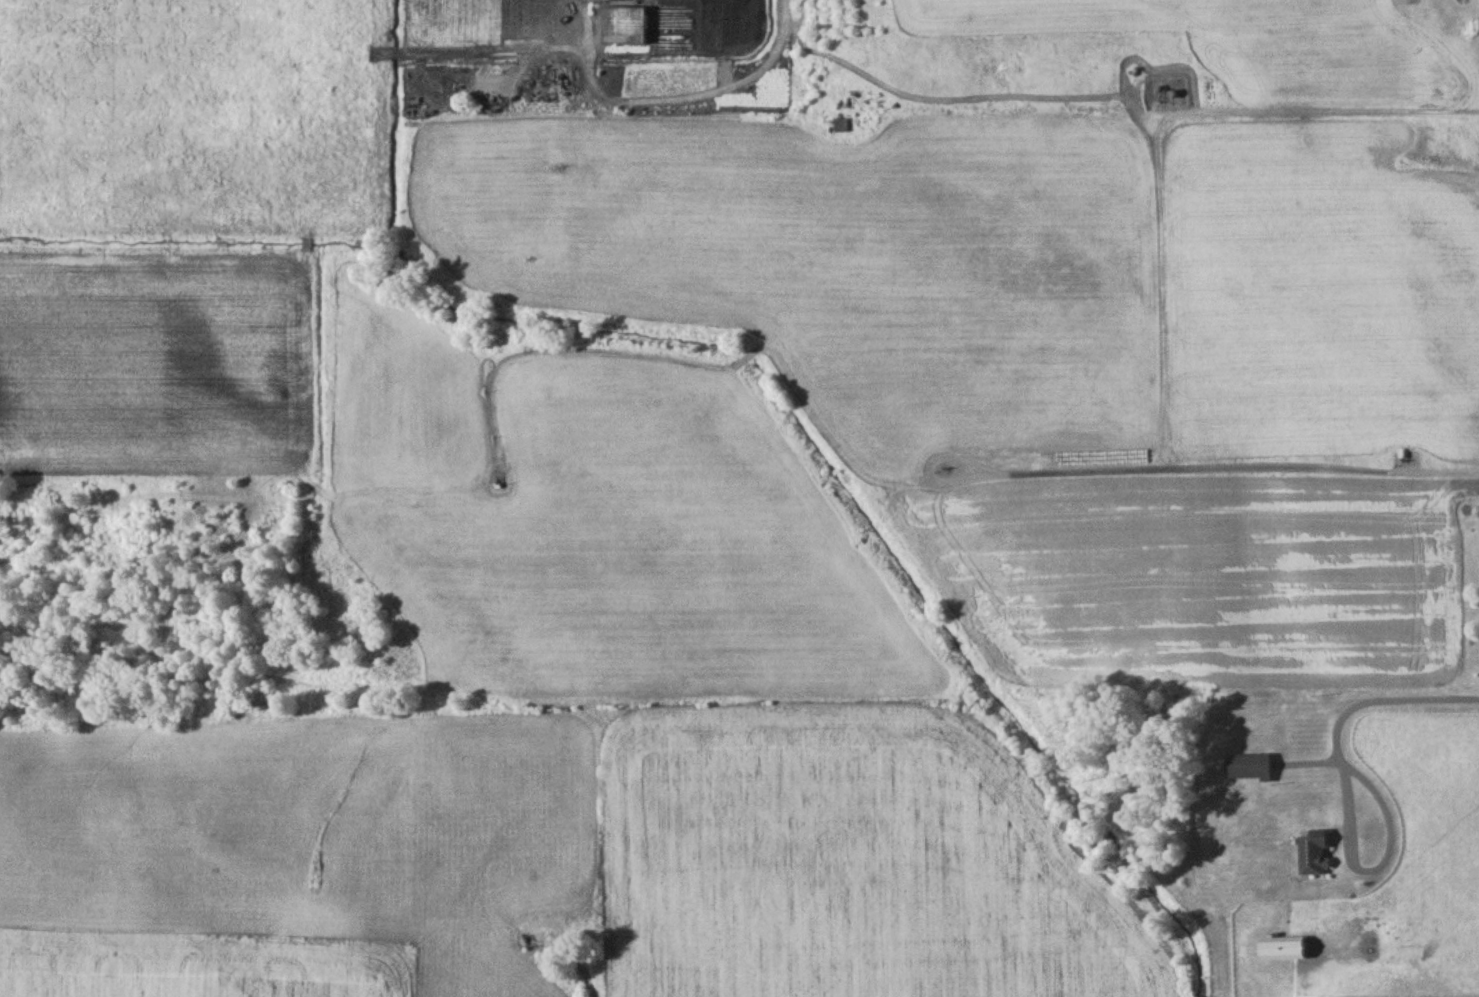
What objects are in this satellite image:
building: (623, 28)
road: (730, 86)
building: (840, 129)
road: (1174, 258)
road: (1324, 467)
road: (1379, 702)
building: (1247, 769)
building: (1313, 855)
road: (1379, 868)
building: (1281, 951)
road: (583, 960)

